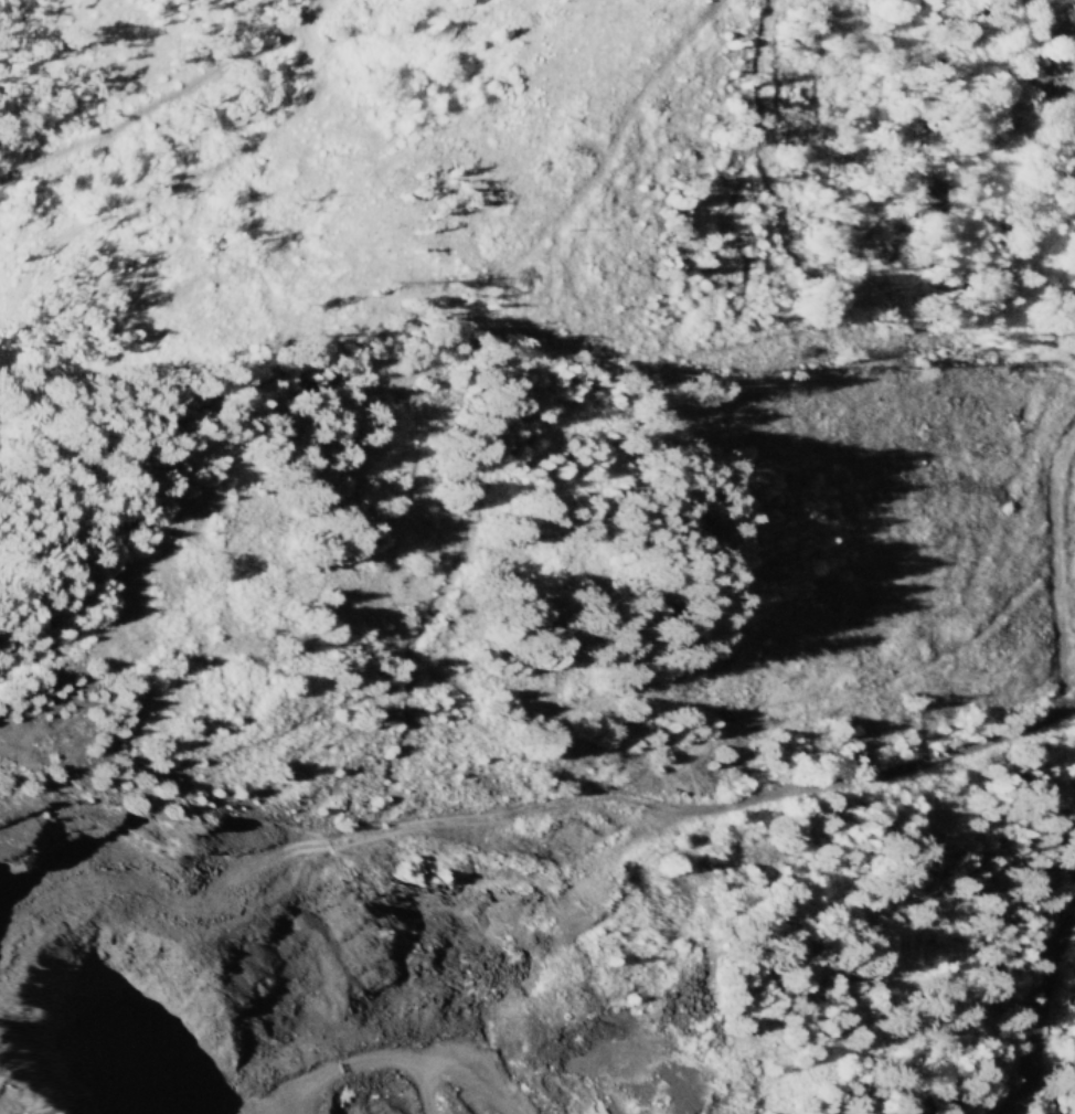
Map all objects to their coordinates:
road: (1034, 1029)

